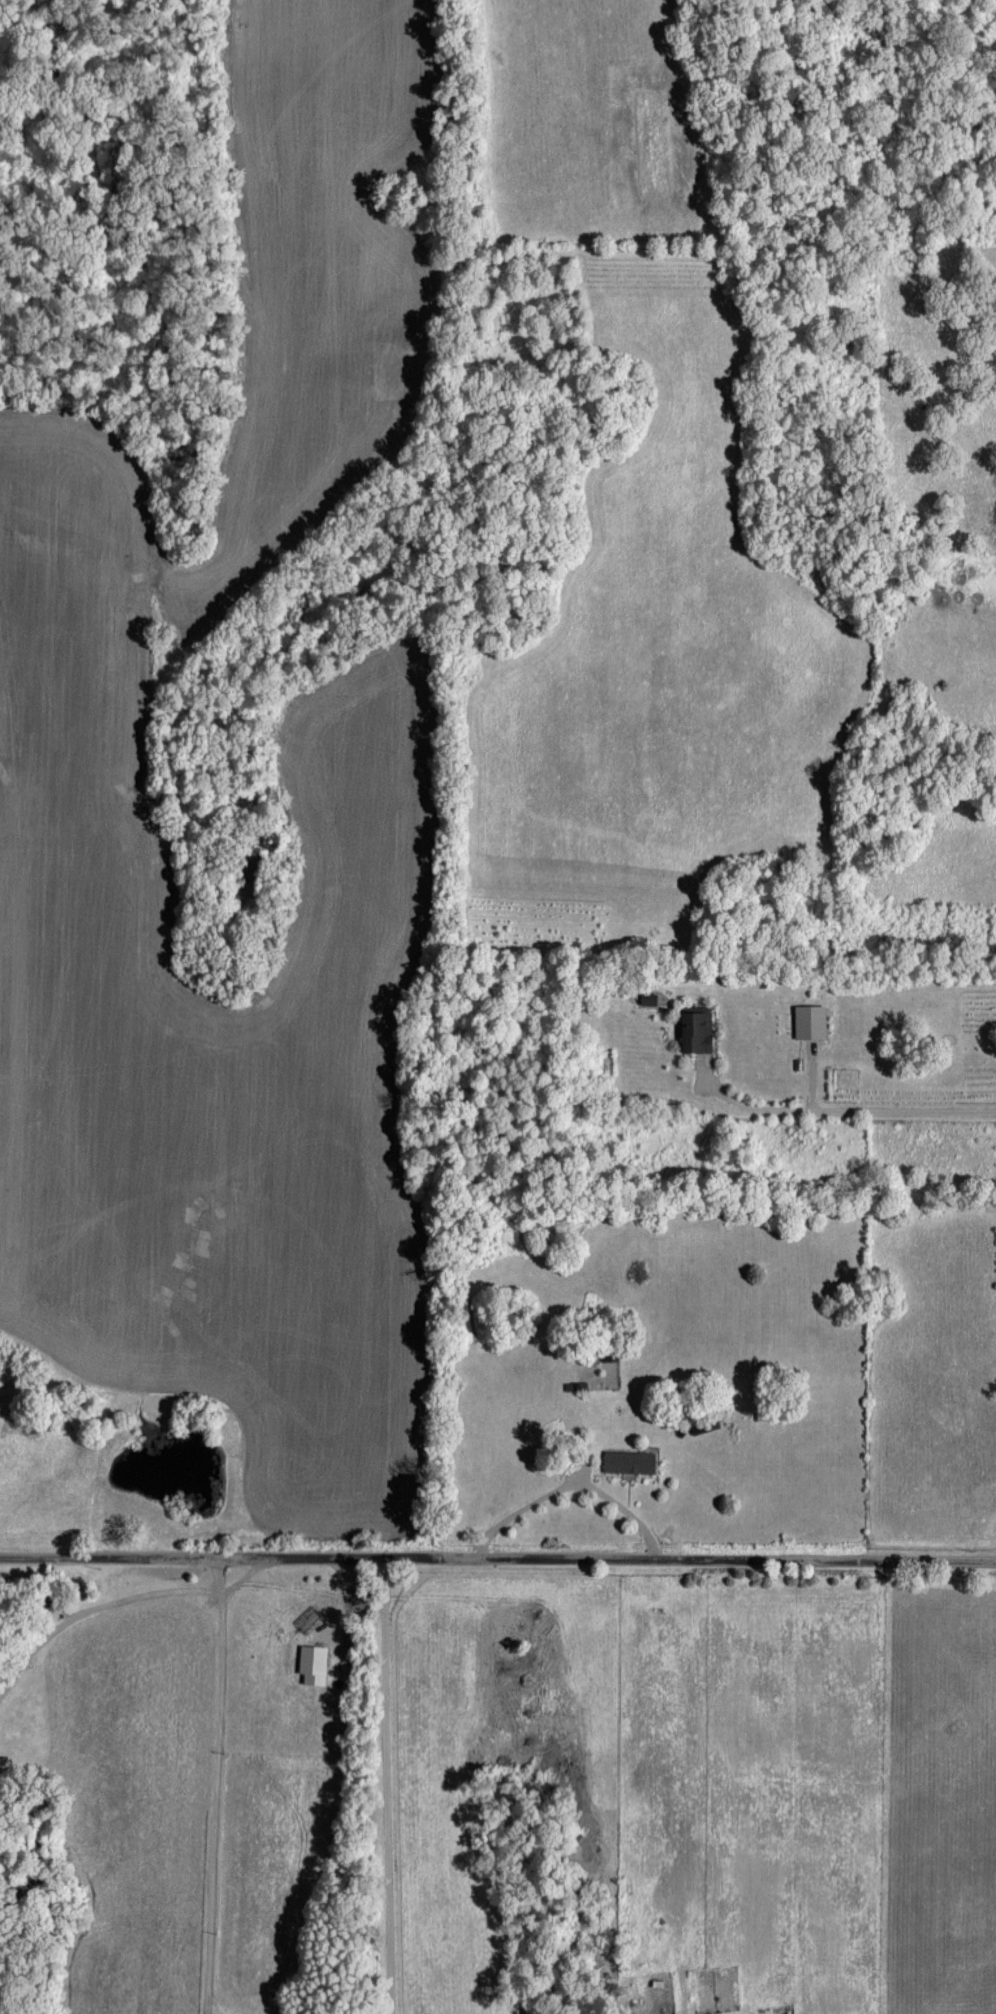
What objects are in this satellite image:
building: (648, 998)
building: (809, 1020)
building: (695, 1027)
road: (848, 1107)
building: (628, 1461)
road: (569, 1483)
road: (497, 1559)
road: (94, 1606)
building: (312, 1663)
road: (217, 1786)
road: (386, 1786)

